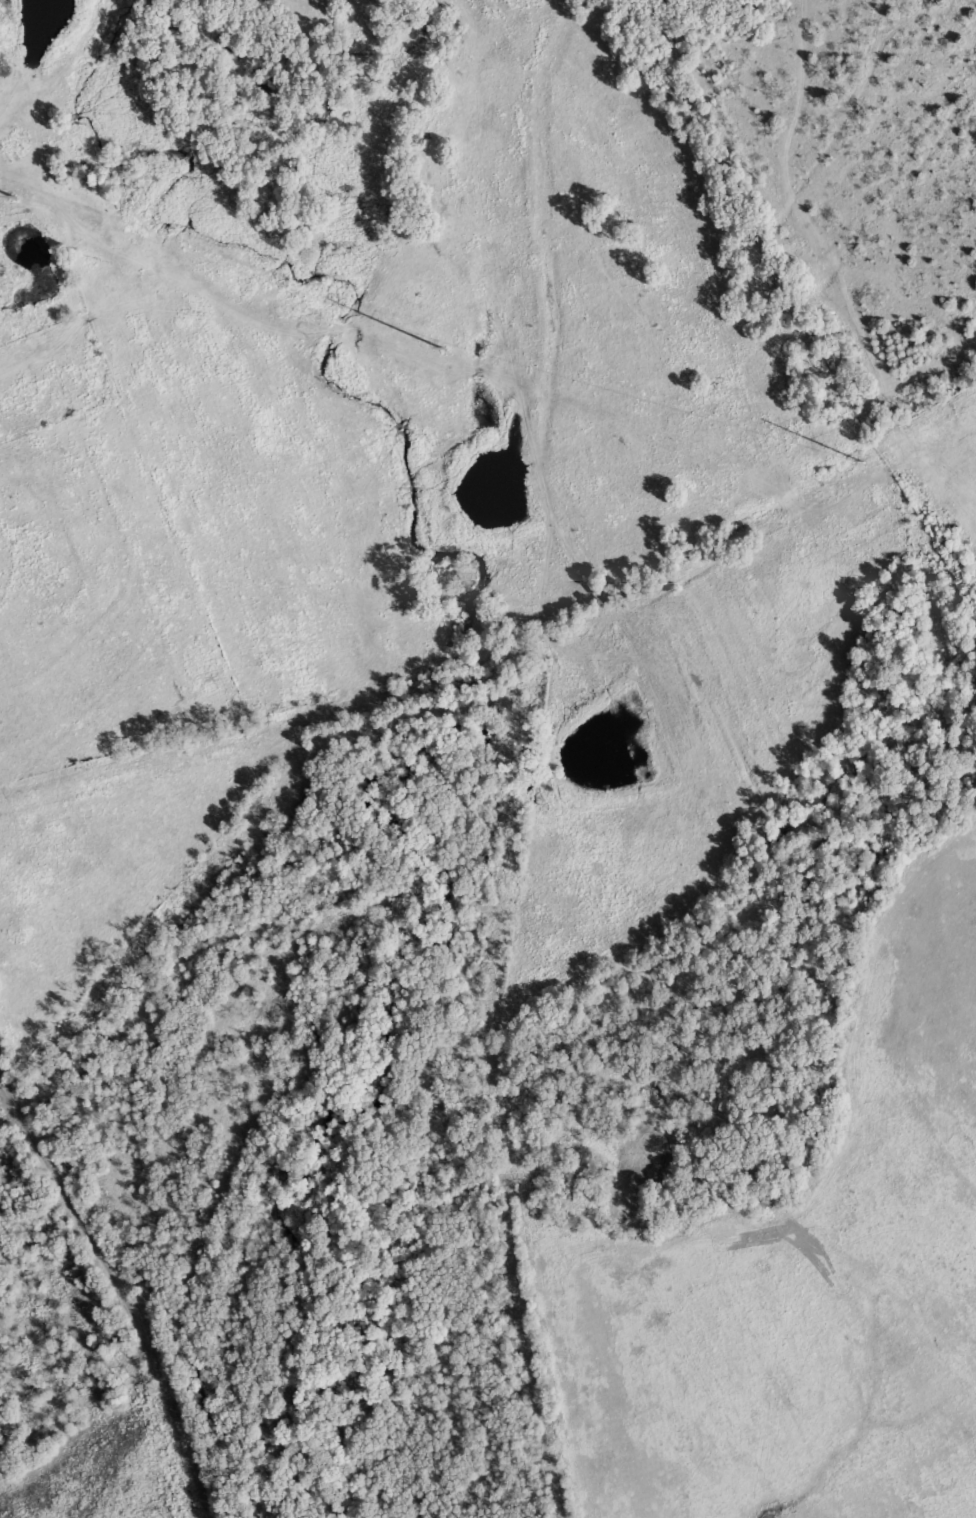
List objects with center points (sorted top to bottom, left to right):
power tower: (14, 197)
power tower: (444, 348)
power tower: (864, 462)
road: (120, 1293)

